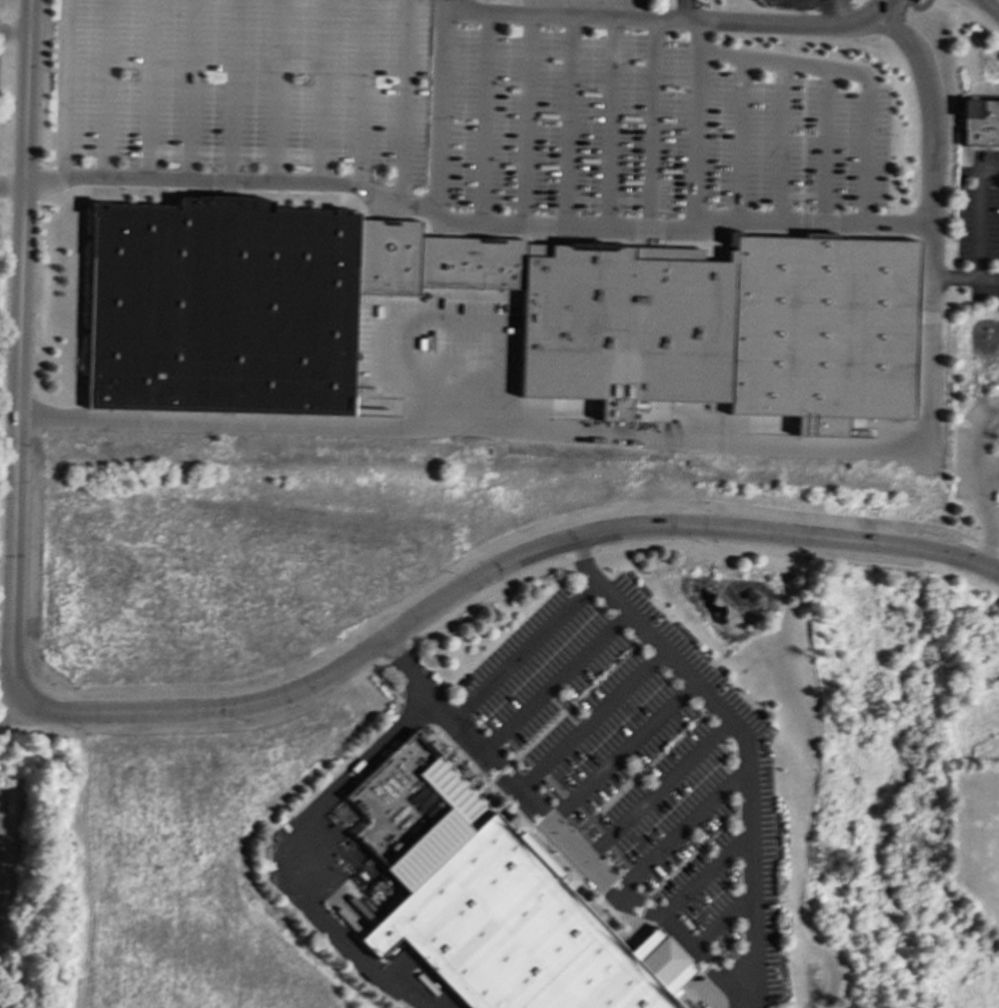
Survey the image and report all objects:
road: (990, 2)
road: (991, 6)
road: (684, 9)
road: (835, 11)
road: (666, 17)
road: (15, 30)
road: (850, 72)
road: (55, 84)
road: (65, 88)
road: (106, 88)
road: (148, 88)
road: (192, 89)
road: (233, 90)
road: (274, 90)
road: (321, 91)
road: (363, 95)
road: (404, 102)
parking lot: (468, 105)
road: (440, 113)
road: (485, 117)
road: (528, 118)
road: (567, 119)
road: (609, 120)
road: (693, 120)
road: (652, 121)
building: (980, 122)
road: (738, 136)
road: (780, 140)
road: (823, 144)
road: (930, 171)
road: (59, 178)
road: (12, 182)
road: (230, 187)
road: (975, 212)
road: (474, 223)
parking lot: (978, 224)
road: (822, 227)
road: (539, 228)
road: (491, 234)
road: (650, 235)
building: (388, 256)
building: (471, 262)
building: (224, 308)
building: (626, 322)
building: (822, 327)
road: (19, 355)
road: (556, 429)
road: (986, 466)
road: (975, 483)
road: (971, 537)
road: (670, 545)
road: (967, 561)
road: (464, 590)
road: (525, 650)
road: (407, 669)
road: (554, 680)
road: (387, 685)
road: (411, 712)
road: (590, 718)
road: (537, 734)
road: (747, 743)
road: (621, 750)
parking lot: (641, 760)
road: (498, 771)
road: (656, 786)
road: (682, 827)
road: (277, 856)
road: (586, 860)
road: (705, 869)
road: (671, 873)
road: (636, 913)
road: (722, 915)
building: (510, 933)

